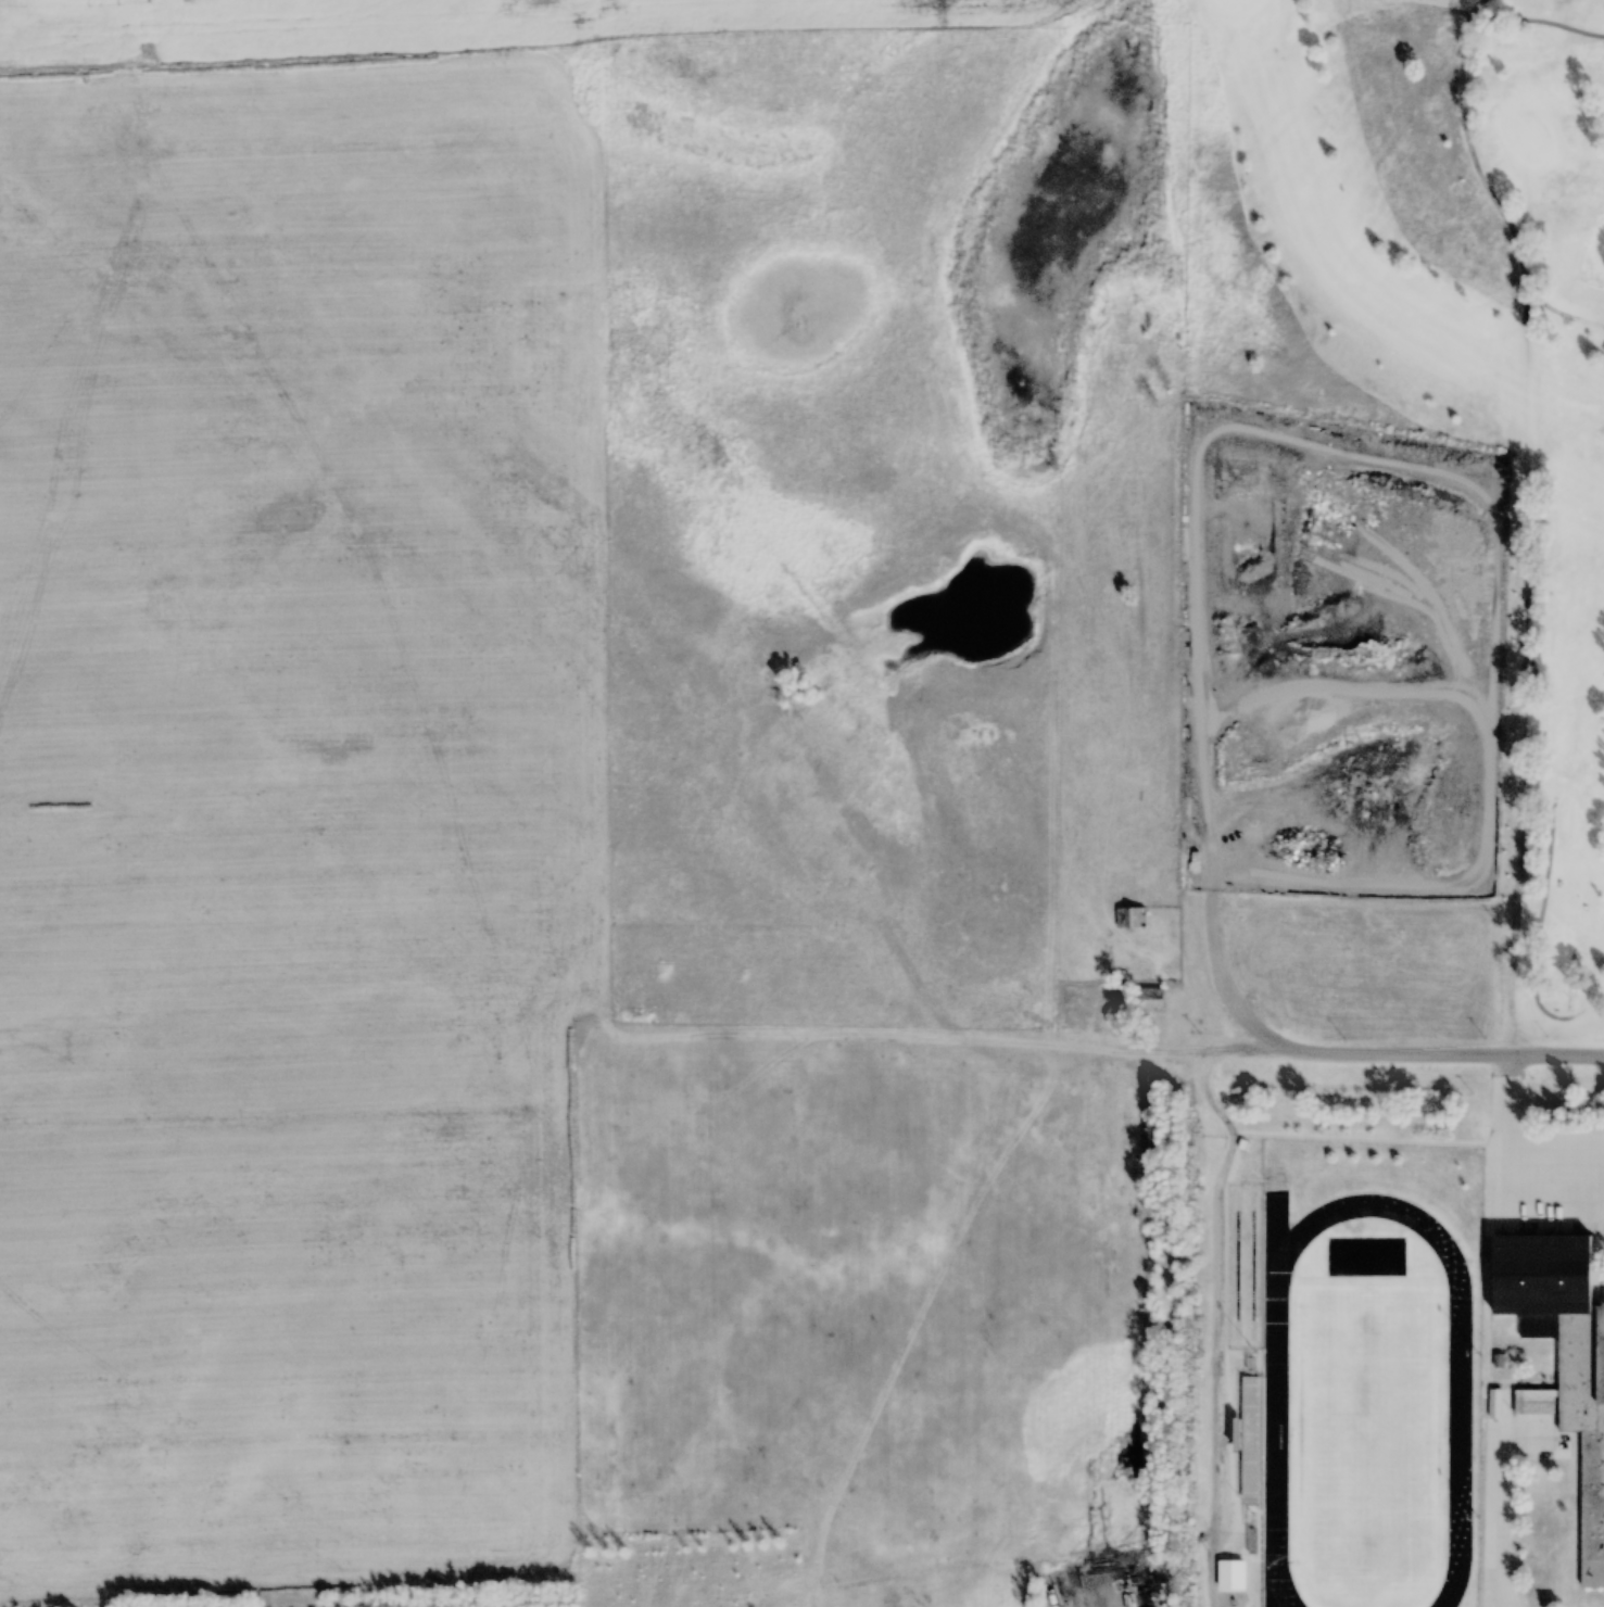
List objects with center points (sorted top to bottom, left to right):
road: (1448, 9)
road: (1468, 160)
road: (1558, 309)
park: (1427, 339)
building: (1196, 860)
building: (1131, 918)
road: (1536, 941)
road: (1216, 963)
building: (1148, 999)
road: (1410, 1070)
park: (1233, 1226)
building: (1561, 1358)
park: (1363, 1426)
track: (1274, 1438)

